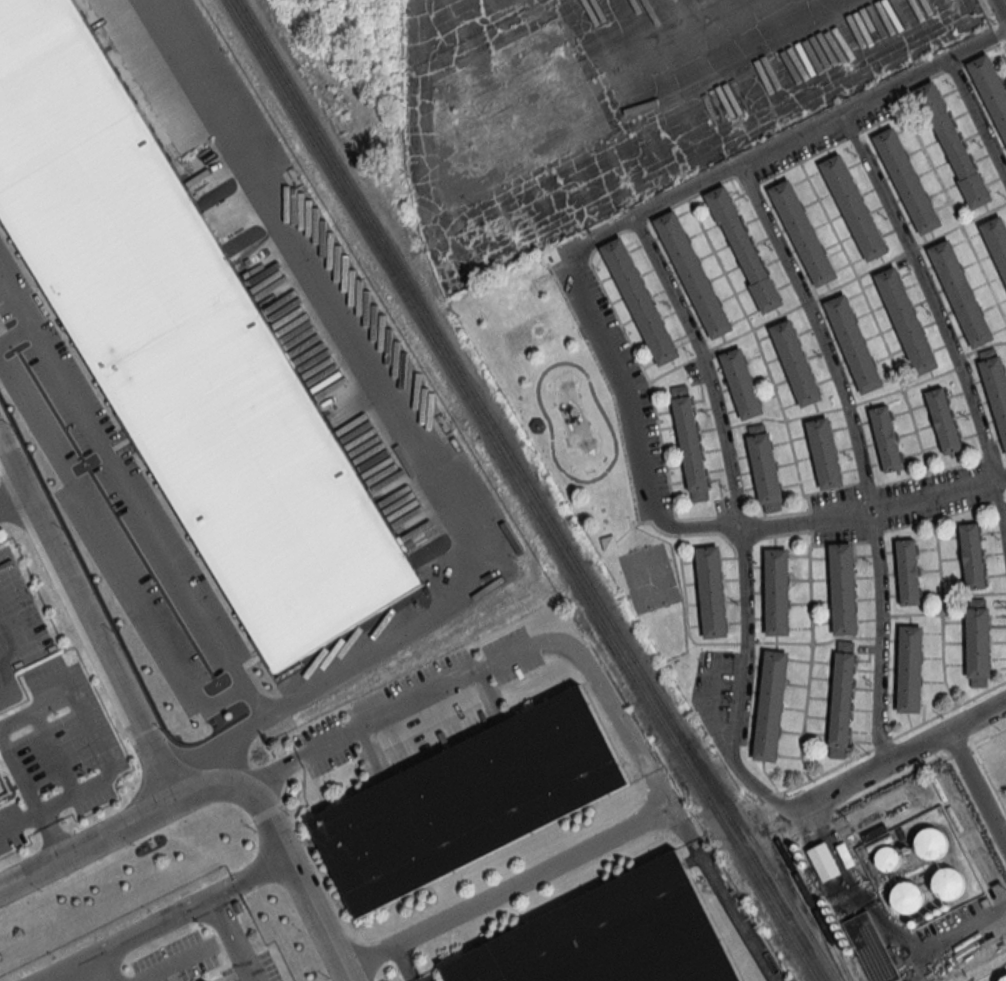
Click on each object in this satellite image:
road: (1001, 8)
road: (993, 26)
building: (990, 89)
road: (978, 117)
road: (819, 123)
building: (956, 154)
railway: (324, 156)
building: (907, 180)
building: (853, 207)
building: (802, 232)
building: (996, 240)
building: (744, 249)
building: (692, 273)
building: (960, 293)
road: (814, 297)
building: (640, 301)
road: (936, 317)
building: (905, 320)
road: (16, 337)
building: (853, 343)
building: (186, 344)
building: (795, 362)
road: (616, 381)
building: (741, 383)
building: (995, 386)
building: (943, 420)
building: (537, 425)
building: (885, 438)
building: (689, 442)
road: (414, 445)
park: (574, 447)
building: (824, 452)
road: (856, 455)
building: (764, 467)
railway: (533, 490)
road: (132, 495)
road: (14, 502)
road: (873, 512)
road: (736, 519)
building: (971, 555)
road: (115, 557)
building: (907, 571)
building: (843, 588)
building: (711, 591)
building: (777, 591)
road: (89, 619)
parking lot: (17, 628)
building: (977, 642)
railway: (617, 647)
road: (509, 655)
building: (909, 668)
building: (841, 698)
building: (770, 705)
road: (92, 733)
road: (887, 739)
parking lot: (56, 749)
road: (55, 753)
road: (901, 758)
road: (918, 767)
road: (19, 774)
building: (1, 787)
road: (979, 787)
building: (468, 800)
building: (2, 802)
road: (20, 822)
road: (53, 835)
road: (89, 845)
building: (932, 845)
storage tank: (932, 845)
building: (796, 848)
storage tank: (796, 848)
road: (285, 851)
building: (801, 856)
storage tank: (801, 856)
building: (890, 859)
storage tank: (890, 859)
building: (825, 862)
building: (805, 865)
storage tank: (805, 865)
building: (949, 884)
storage tank: (949, 884)
road: (506, 886)
building: (908, 897)
storage tank: (908, 897)
road: (732, 910)
building: (829, 911)
storage tank: (829, 911)
road: (162, 918)
building: (832, 919)
storage tank: (832, 919)
building: (837, 928)
storage tank: (837, 928)
building: (611, 935)
building: (842, 935)
storage tank: (842, 935)
road: (229, 938)
building: (846, 943)
storage tank: (846, 943)
building: (871, 949)
building: (851, 952)
storage tank: (851, 952)
road: (403, 963)
building: (1004, 979)
storage tank: (1004, 979)

